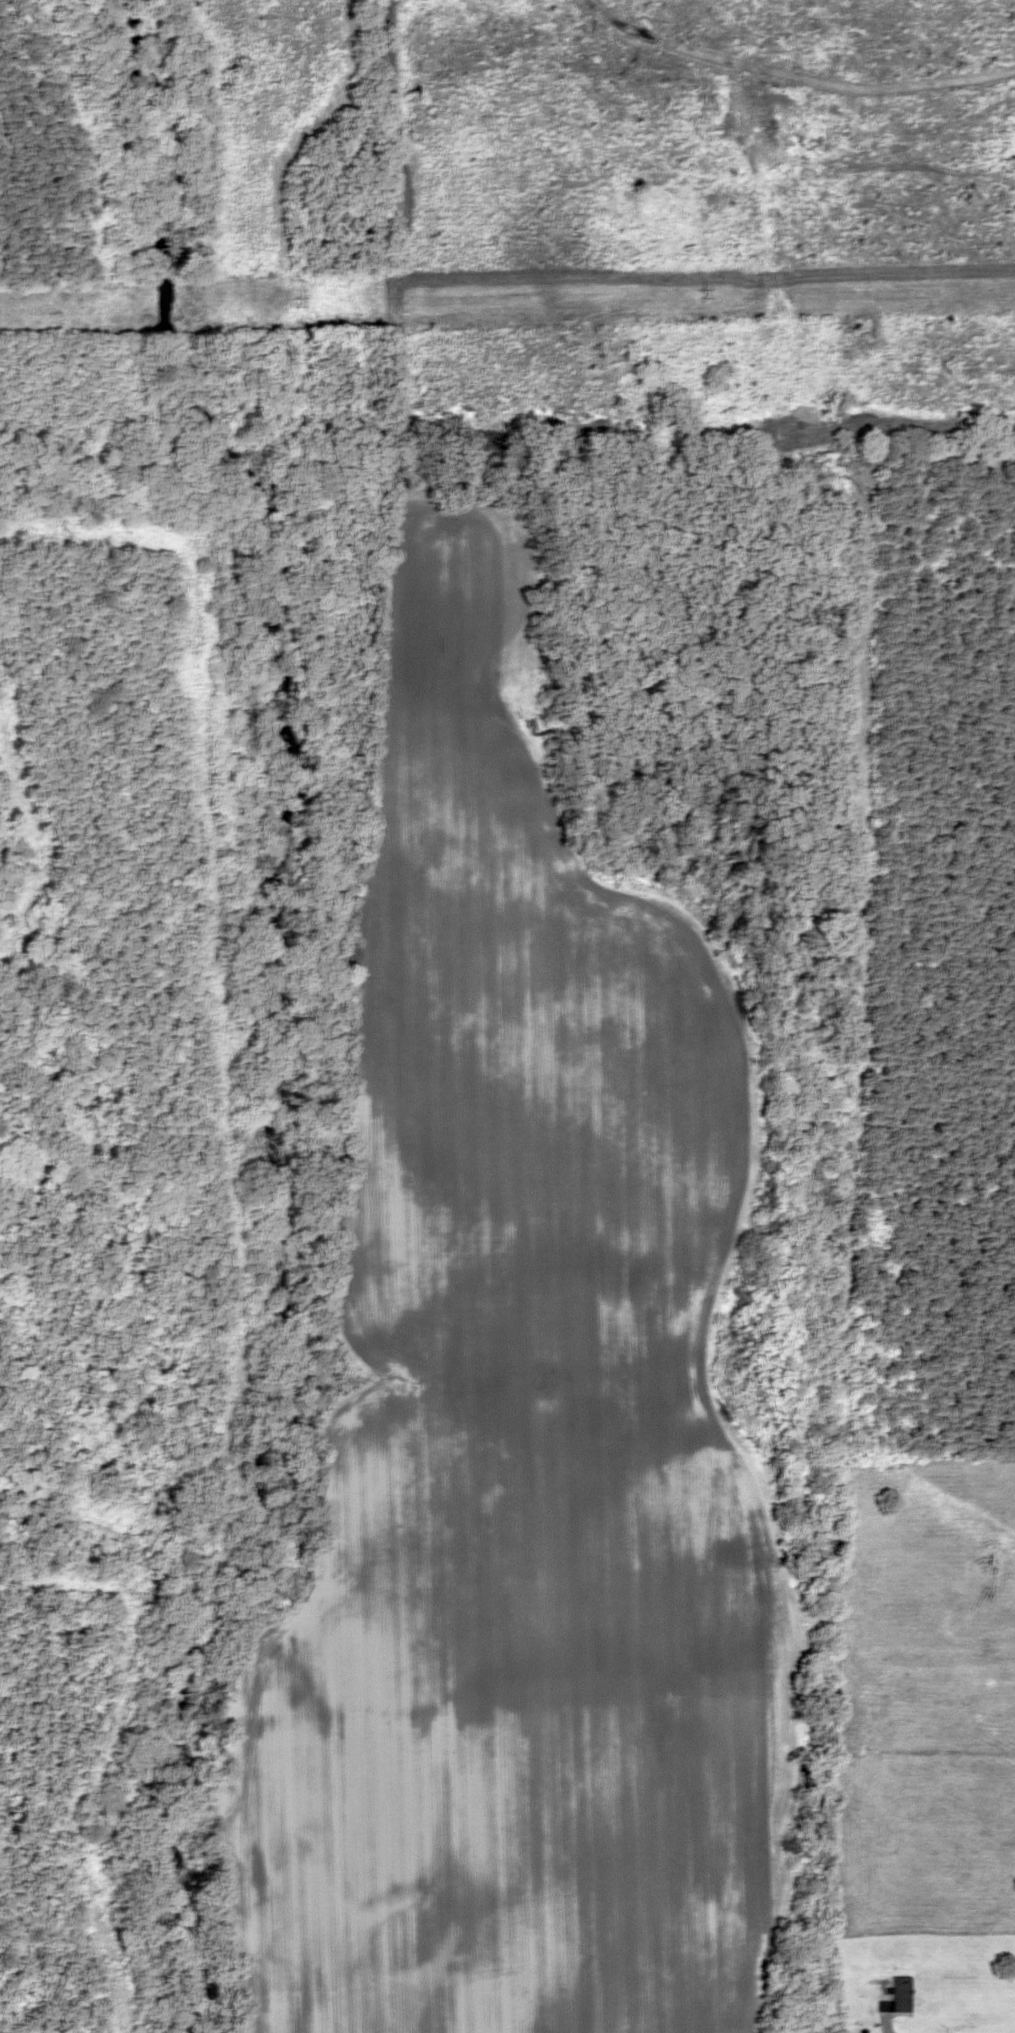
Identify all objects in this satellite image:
building: (894, 1995)

